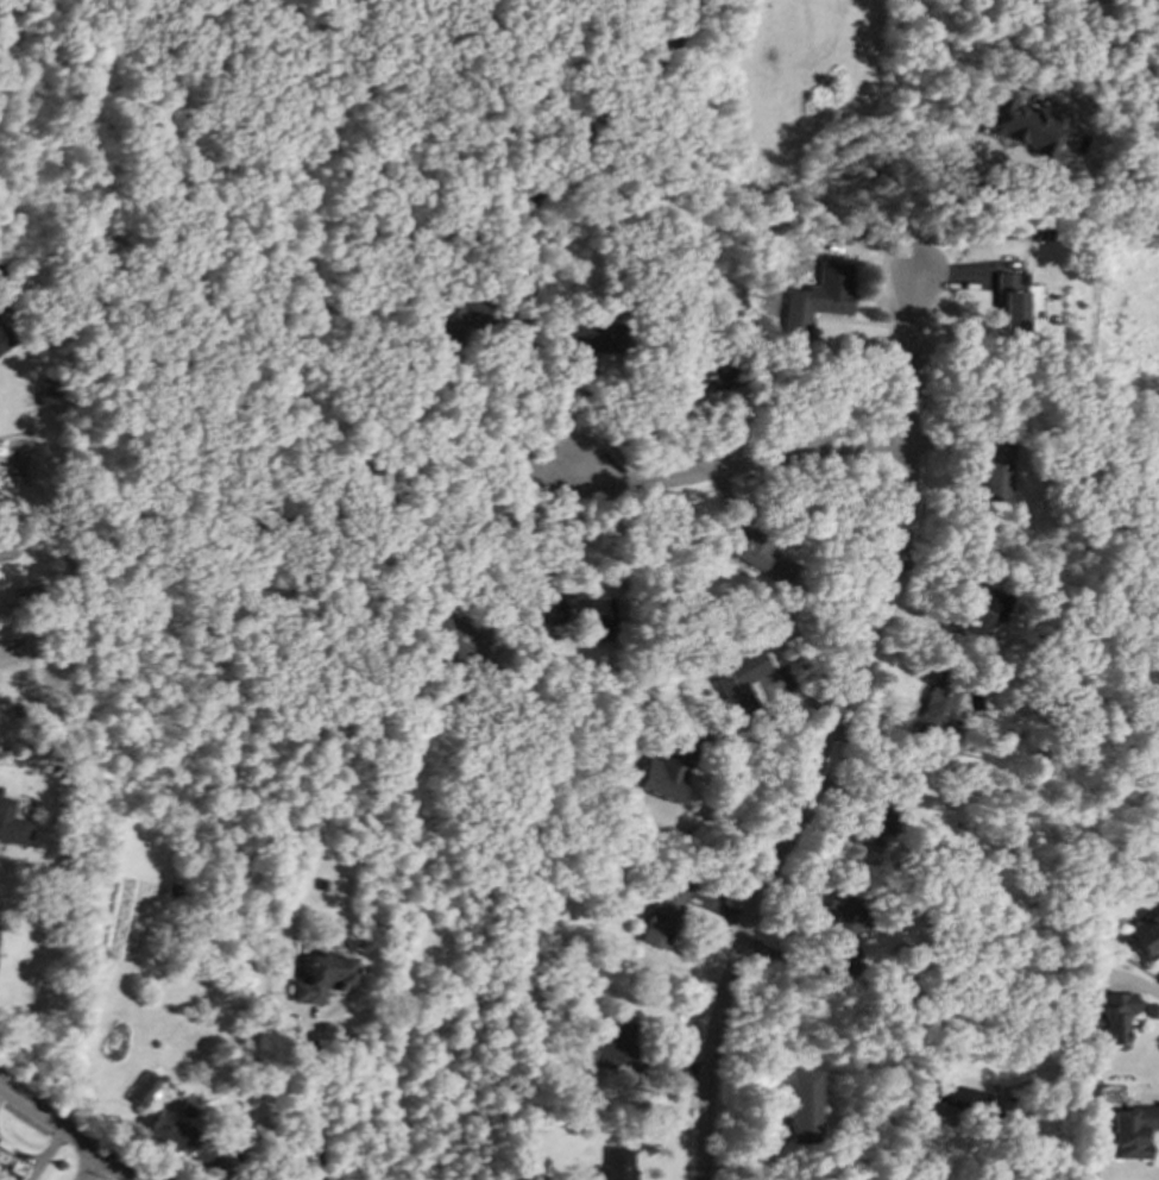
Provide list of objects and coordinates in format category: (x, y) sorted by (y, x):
building: (1023, 124)
road: (938, 197)
road: (524, 222)
building: (818, 299)
building: (1012, 301)
building: (455, 315)
building: (4, 340)
building: (573, 340)
building: (701, 378)
building: (49, 398)
road: (739, 467)
building: (996, 470)
road: (504, 523)
building: (766, 559)
building: (981, 610)
building: (593, 611)
building: (458, 638)
building: (742, 682)
building: (936, 710)
road: (827, 734)
building: (666, 772)
building: (12, 826)
building: (875, 826)
road: (720, 831)
building: (663, 914)
building: (844, 921)
building: (1147, 936)
building: (846, 966)
building: (322, 978)
building: (1114, 1017)
building: (616, 1048)
building: (143, 1090)
road: (316, 1105)
building: (965, 1105)
building: (801, 1106)
building: (1132, 1131)
road: (69, 1134)
building: (168, 1134)
building: (617, 1165)
road: (95, 1168)
building: (6, 1174)

